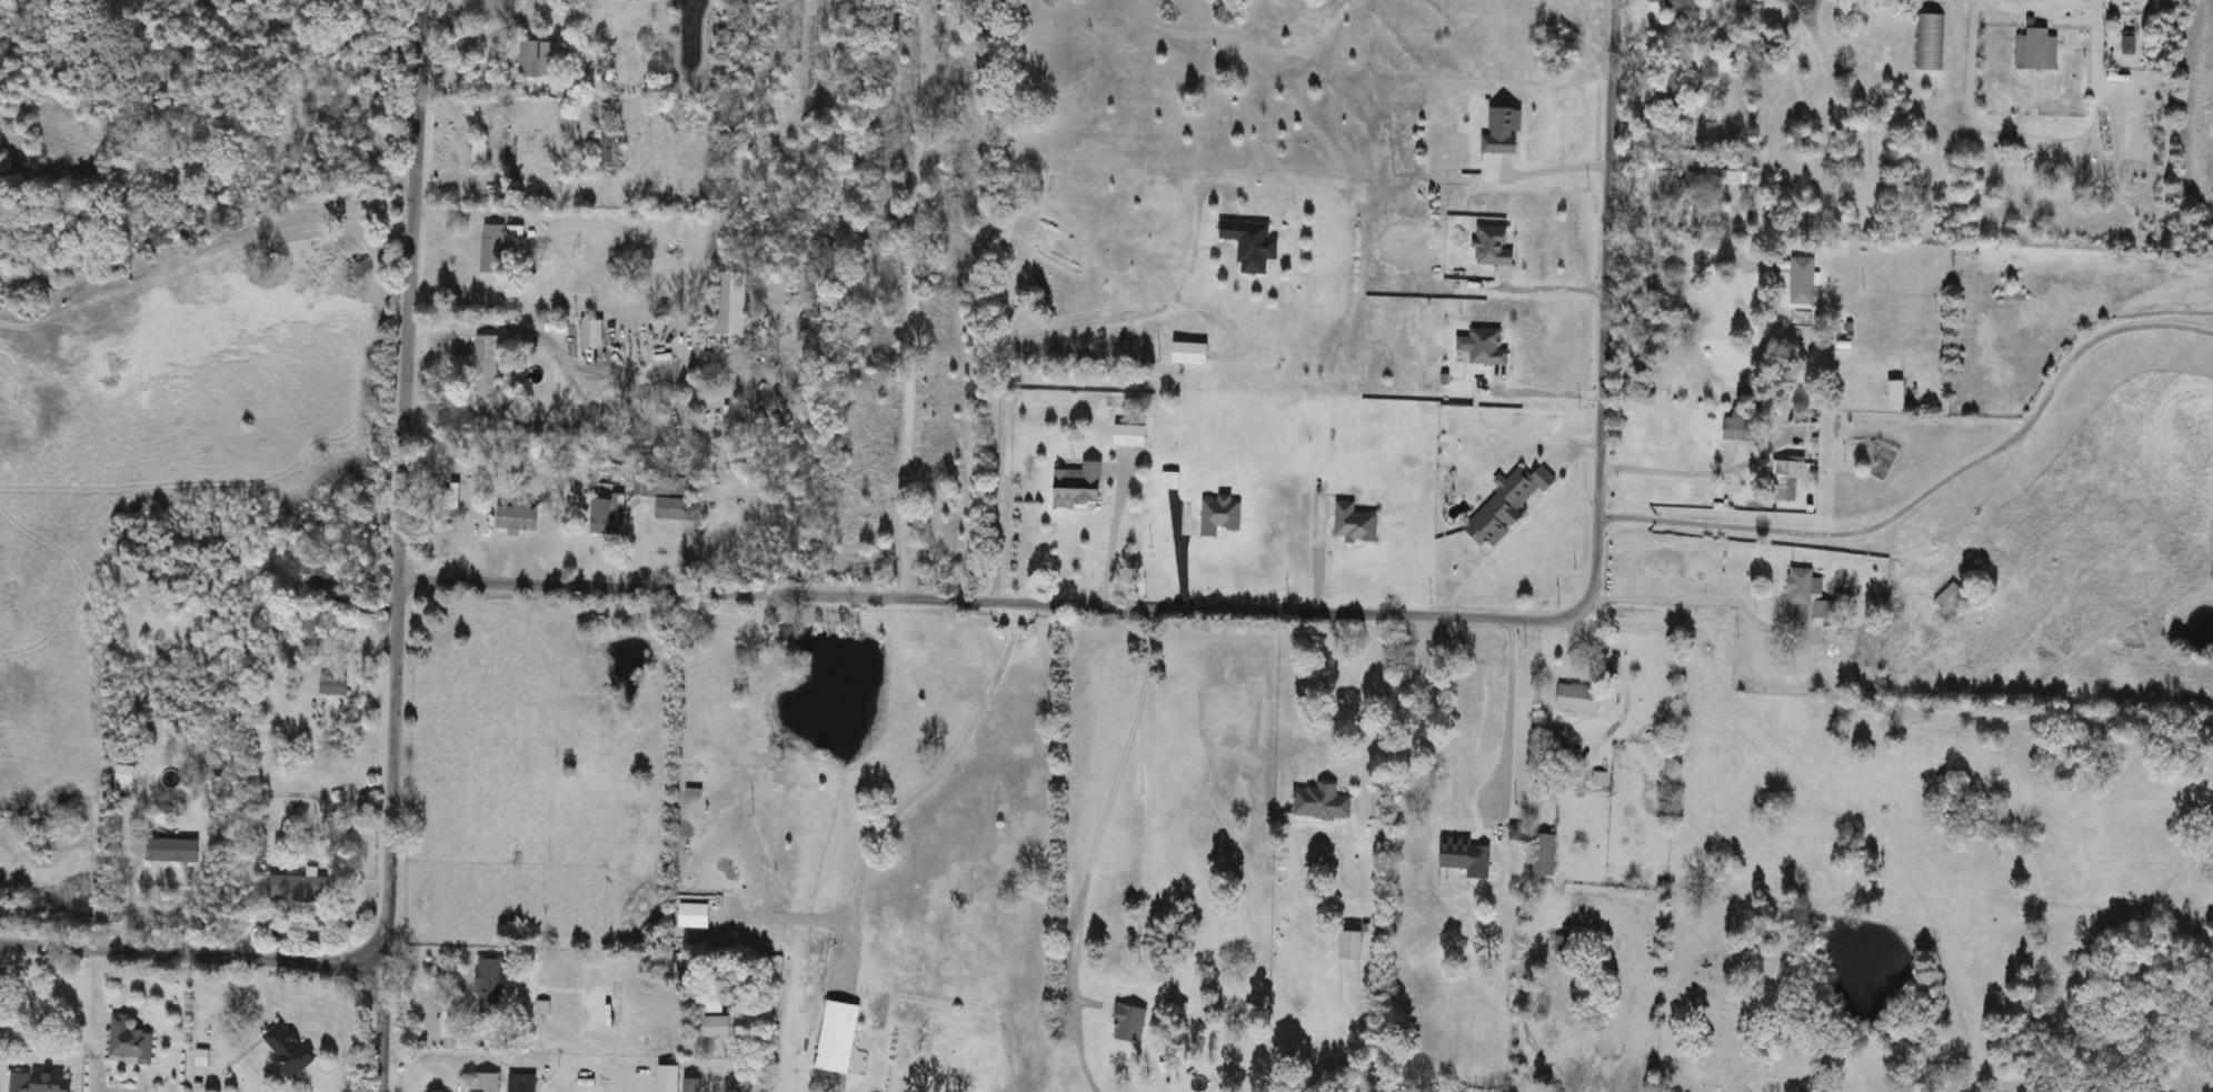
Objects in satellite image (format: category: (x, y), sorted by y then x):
building: (626, 0)
building: (1681, 4)
road: (886, 6)
road: (477, 30)
building: (1928, 42)
building: (2130, 42)
building: (2038, 50)
road: (801, 56)
building: (538, 58)
building: (616, 82)
building: (1669, 86)
building: (1506, 131)
building: (481, 151)
road: (1553, 162)
building: (1740, 170)
building: (1696, 182)
building: (1668, 184)
building: (1711, 218)
building: (517, 233)
building: (1253, 244)
building: (1495, 247)
building: (495, 249)
road: (1675, 259)
building: (1804, 281)
road: (909, 297)
building: (734, 303)
building: (594, 333)
road: (1021, 341)
building: (1489, 348)
building: (1193, 353)
building: (488, 367)
road: (1543, 385)
building: (1898, 393)
building: (1743, 427)
building: (1134, 435)
road: (1698, 473)
building: (1788, 480)
building: (1081, 485)
road: (1932, 491)
building: (670, 492)
building: (1509, 505)
building: (610, 514)
building: (1223, 515)
building: (518, 518)
building: (1357, 524)
road: (1110, 530)
road: (399, 545)
road: (1315, 550)
building: (322, 577)
building: (1801, 594)
road: (1703, 595)
building: (1954, 600)
road: (1296, 610)
building: (1824, 610)
road: (1623, 677)
building: (335, 683)
building: (1579, 698)
road: (1369, 704)
road: (1506, 718)
road: (929, 782)
building: (1323, 803)
building: (138, 846)
road: (1093, 848)
building: (175, 850)
building: (1547, 855)
building: (299, 889)
road: (795, 914)
building: (1355, 945)
building: (1557, 948)
road: (188, 958)
building: (490, 984)
building: (712, 1004)
building: (719, 1028)
building: (840, 1038)
building: (130, 1042)
building: (289, 1050)
building: (203, 1058)
building: (41, 1081)
building: (486, 1082)
building: (522, 1083)

